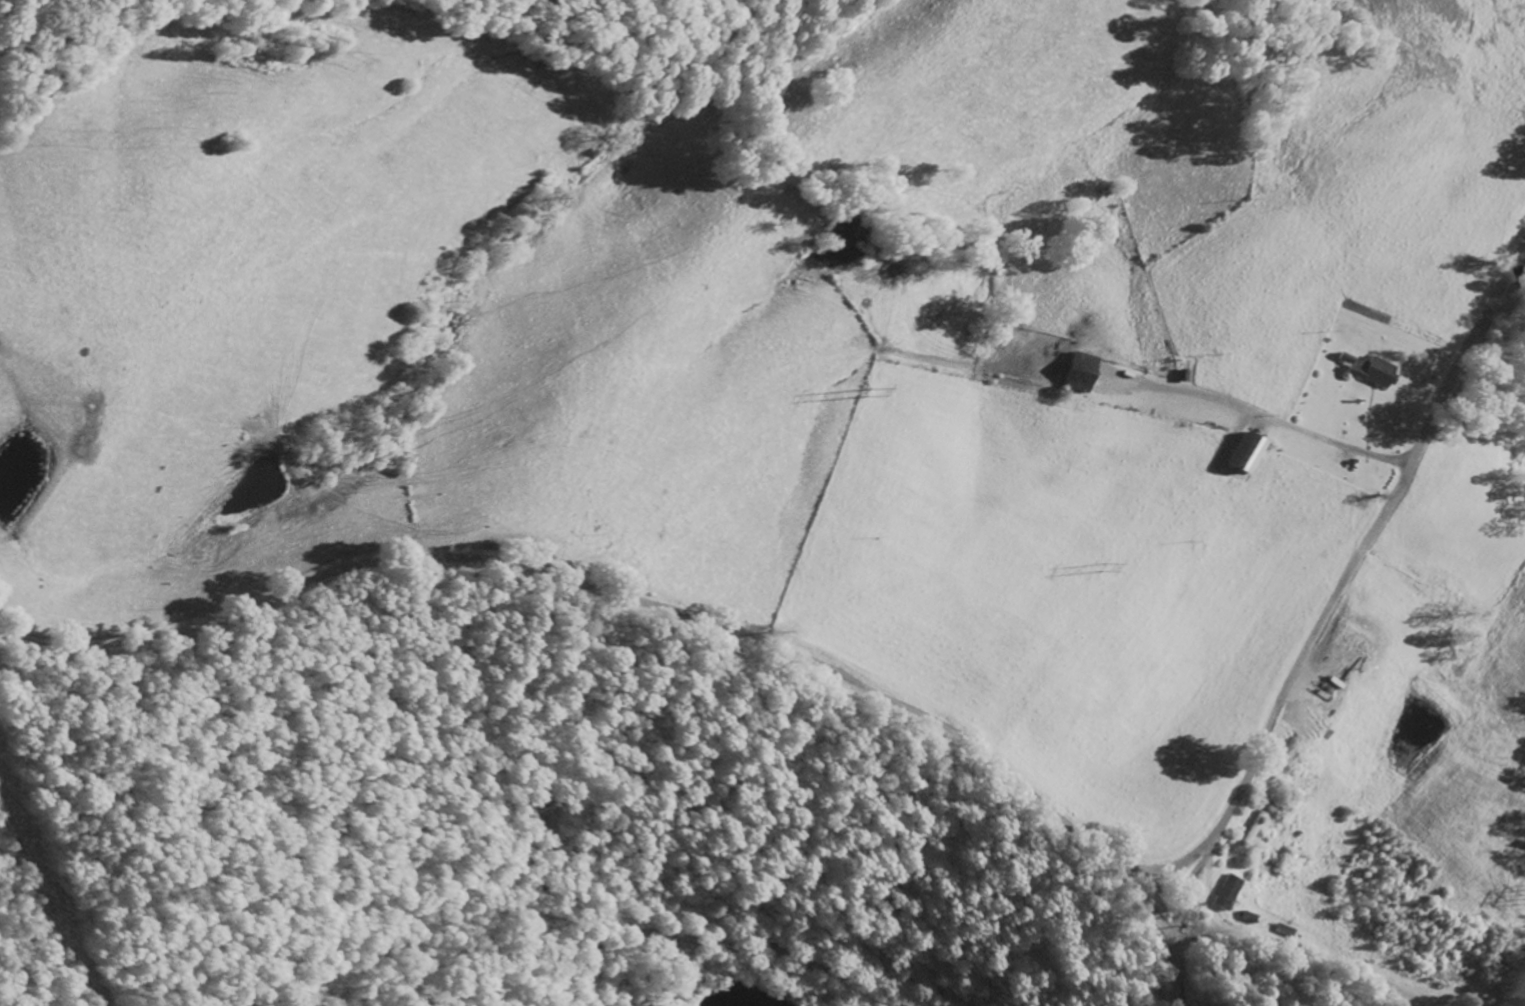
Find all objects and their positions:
building: (1085, 371)
building: (1376, 371)
power tower: (856, 392)
road: (1265, 417)
building: (1247, 451)
power tower: (1087, 568)
road: (939, 726)
building: (1228, 892)
road: (1176, 908)
road: (655, 933)
park: (1461, 983)

